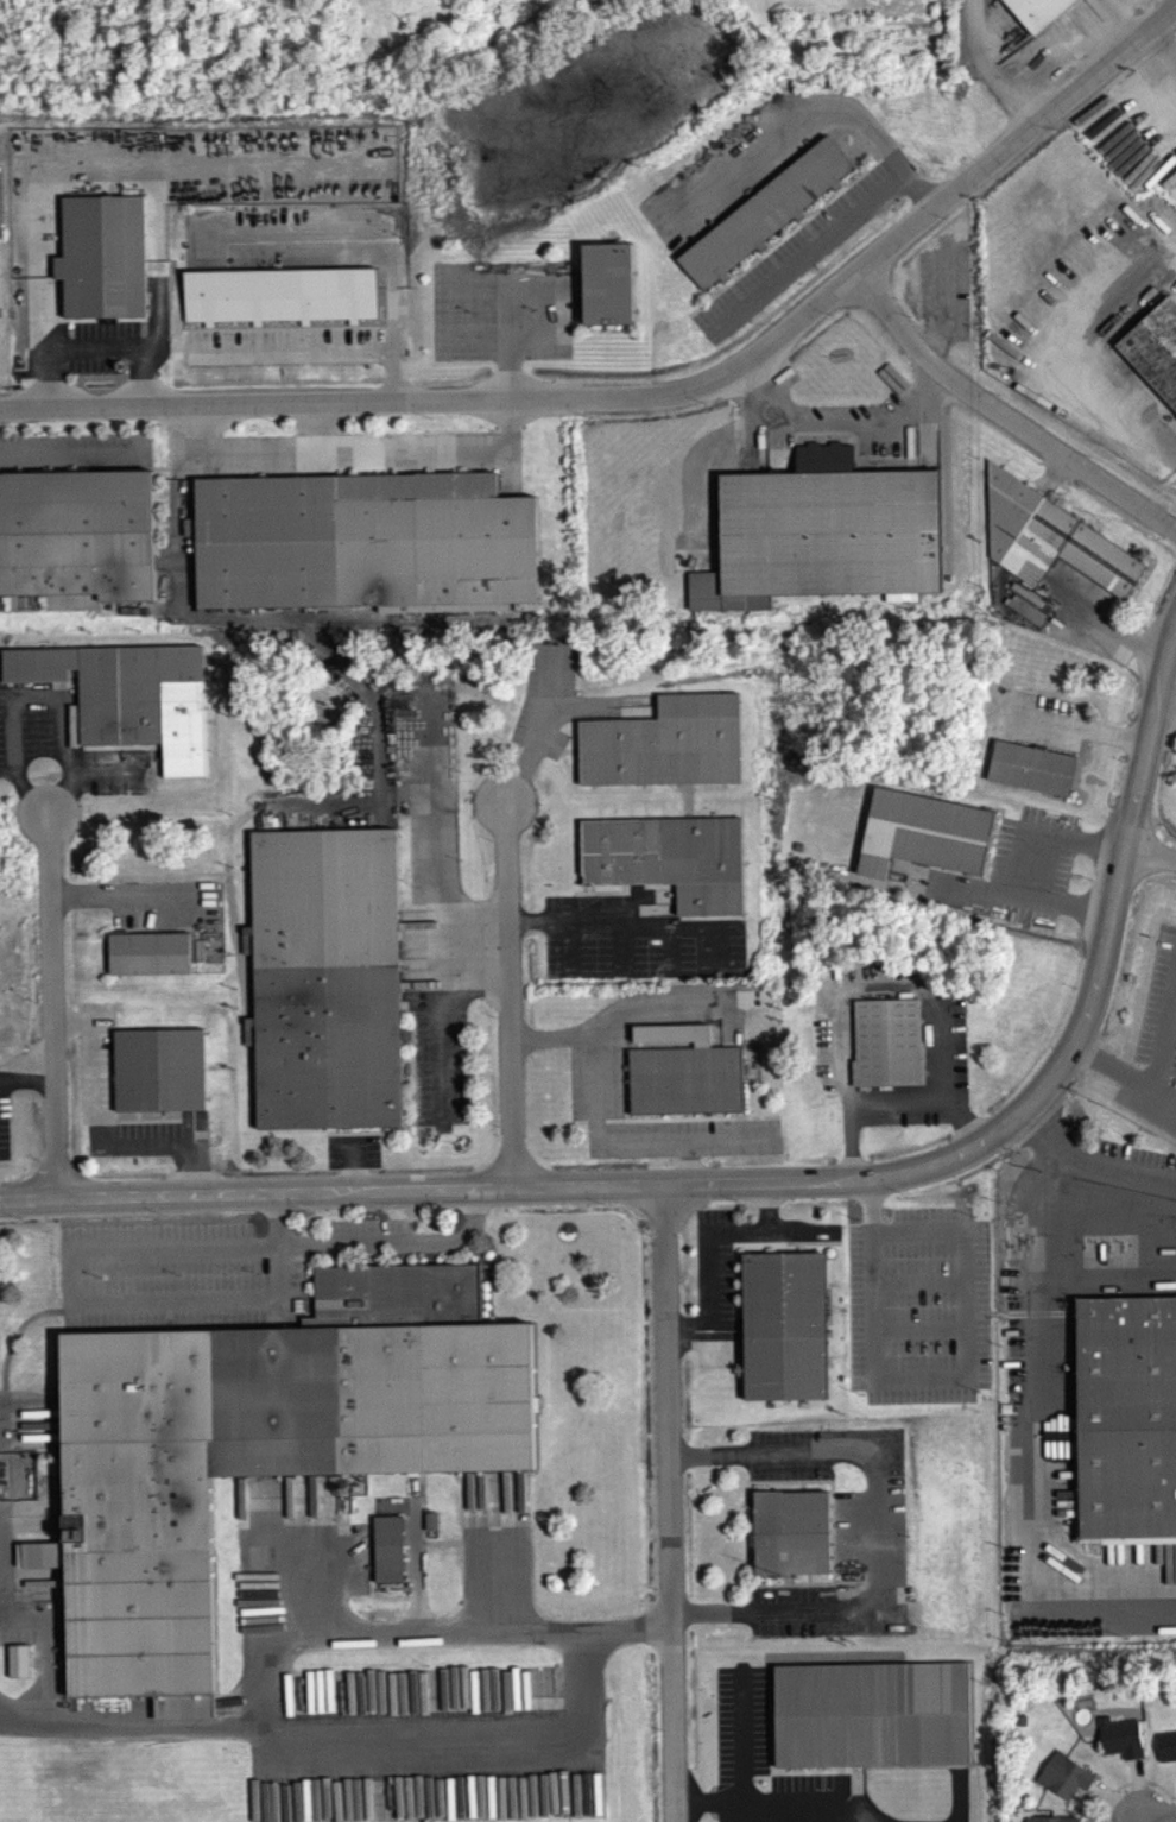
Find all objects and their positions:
building: (1039, 12)
road: (816, 116)
building: (764, 217)
building: (101, 261)
building: (607, 288)
building: (278, 300)
road: (317, 352)
road: (90, 353)
building: (1153, 354)
road: (1051, 360)
road: (656, 393)
road: (1004, 415)
road: (840, 423)
parking lot: (76, 450)
building: (824, 530)
building: (1051, 536)
building: (76, 537)
building: (362, 546)
road: (1106, 624)
road: (32, 700)
building: (127, 700)
road: (1165, 705)
road: (1080, 727)
road: (533, 735)
building: (664, 749)
building: (1030, 773)
road: (436, 831)
building: (922, 838)
road: (1150, 855)
road: (1044, 859)
building: (668, 864)
road: (586, 912)
building: (148, 959)
building: (324, 983)
road: (443, 992)
road: (508, 996)
road: (55, 1009)
road: (1163, 1028)
building: (885, 1048)
road: (934, 1054)
road: (1112, 1063)
building: (159, 1074)
building: (684, 1084)
road: (1163, 1087)
road: (887, 1099)
road: (95, 1129)
road: (1092, 1154)
road: (354, 1166)
road: (778, 1180)
road: (1062, 1180)
road: (1117, 1213)
road: (105, 1246)
road: (1108, 1278)
parking lot: (716, 1293)
parking lot: (921, 1304)
building: (786, 1324)
road: (941, 1372)
building: (1127, 1413)
building: (248, 1461)
road: (1039, 1473)
road: (671, 1502)
road: (880, 1524)
parking lot: (871, 1528)
building: (794, 1531)
building: (386, 1555)
road: (381, 1625)
building: (18, 1666)
building: (873, 1711)
road: (381, 1735)
building: (1118, 1742)
building: (1165, 1752)
road: (742, 1763)
building: (1063, 1782)
road: (1131, 1788)
road: (1158, 1816)
road: (1139, 1820)
road: (1140, 1820)
building: (1030, 1821)

